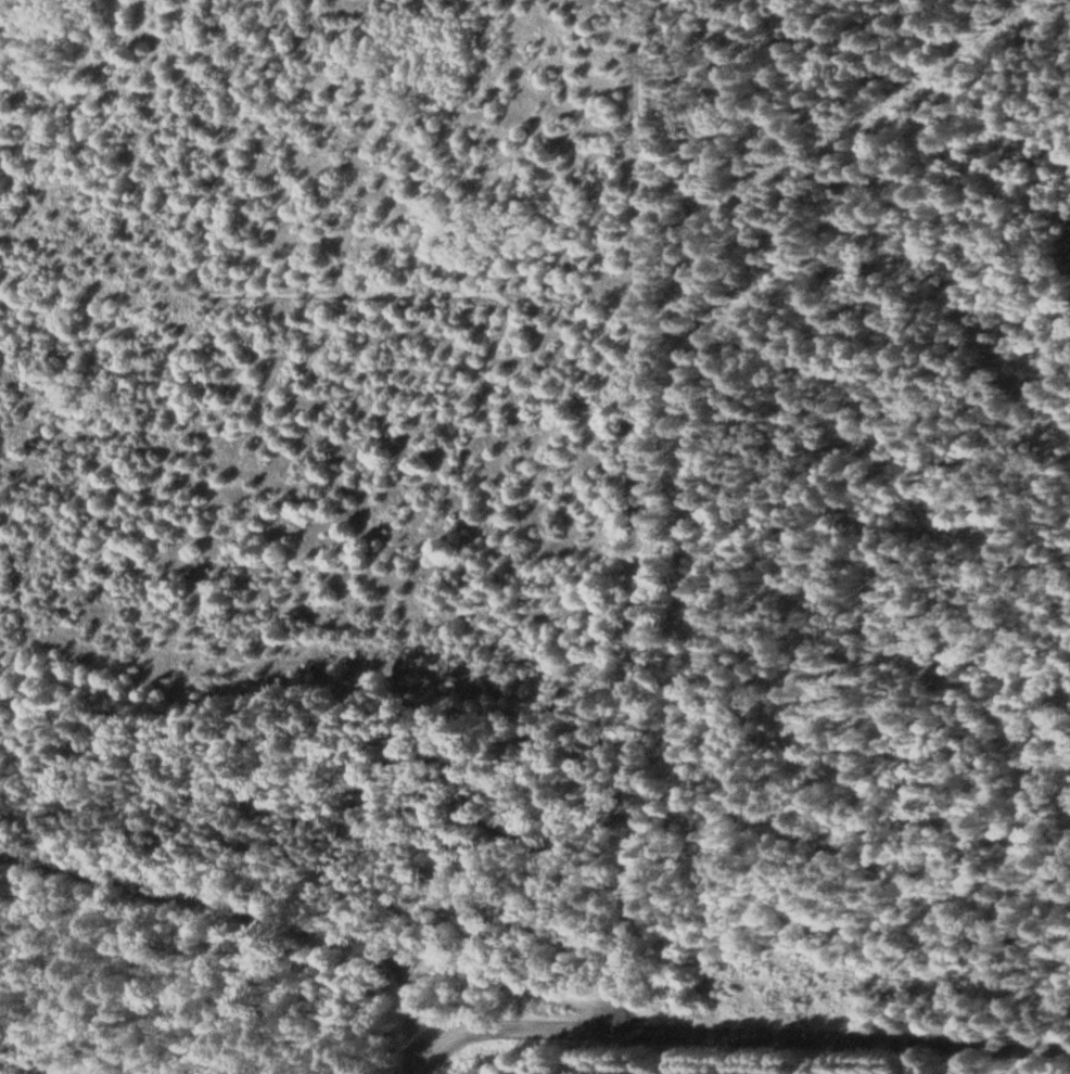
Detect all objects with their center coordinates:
road: (644, 515)
road: (482, 591)
road: (202, 907)
road: (513, 997)
road: (407, 1019)
road: (510, 1028)
road: (848, 1036)

